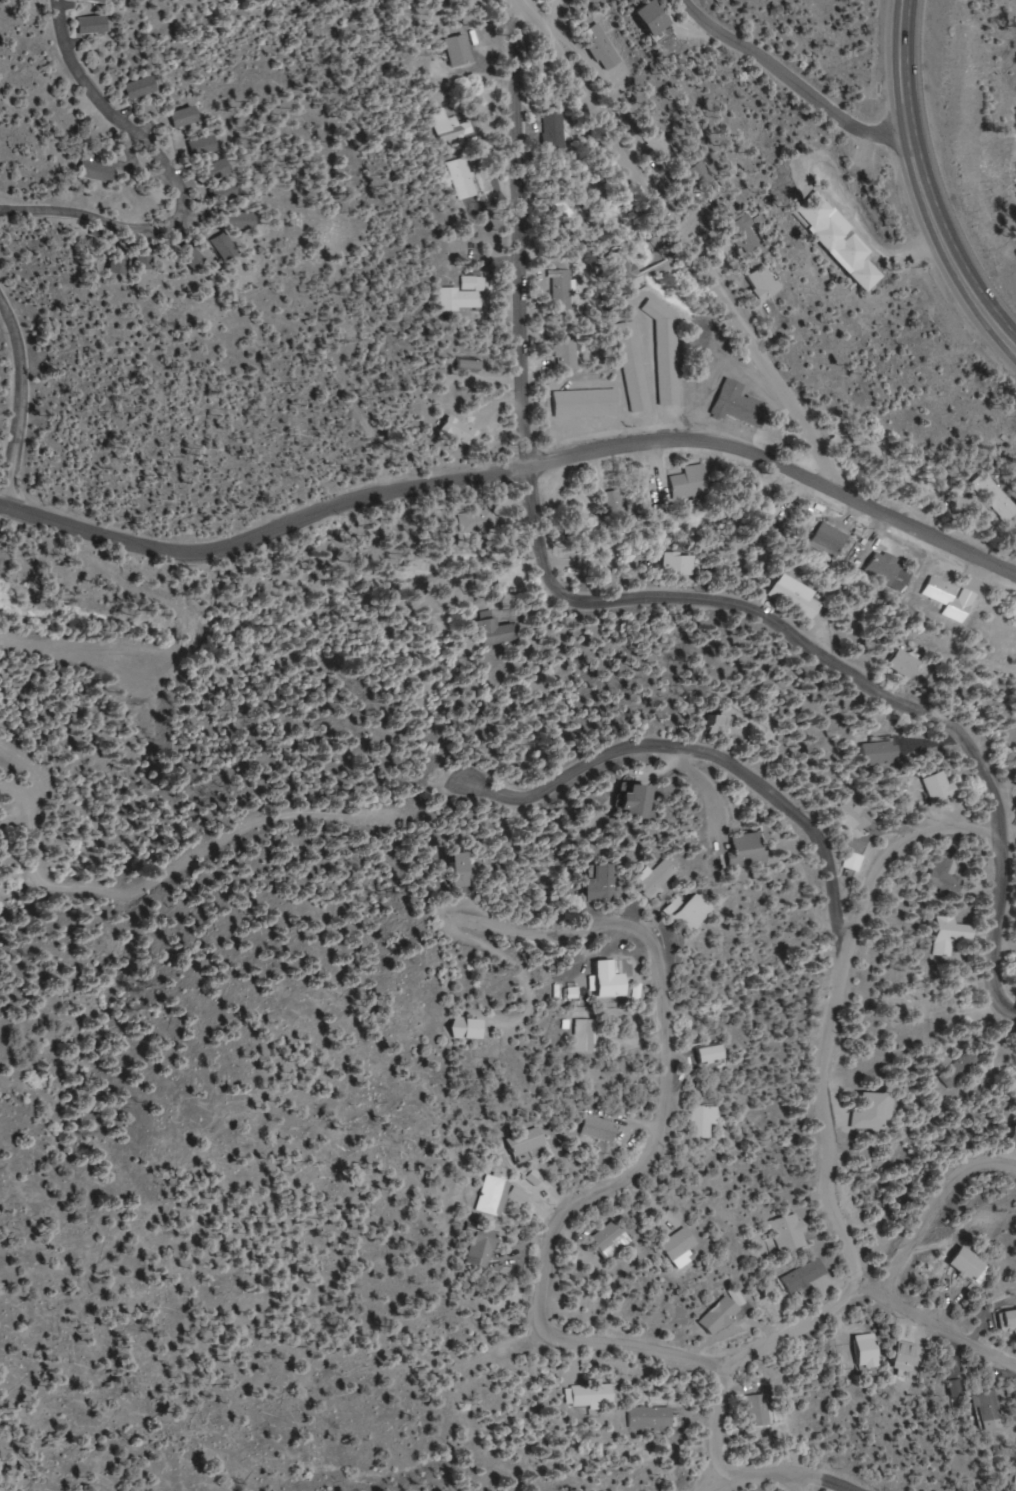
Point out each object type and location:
building: (91, 1)
building: (654, 17)
building: (87, 25)
building: (600, 47)
building: (457, 50)
building: (138, 87)
road: (799, 92)
building: (184, 116)
building: (450, 127)
building: (554, 131)
building: (207, 144)
building: (218, 168)
building: (97, 171)
building: (462, 178)
road: (174, 180)
road: (917, 186)
building: (228, 190)
building: (242, 218)
road: (728, 225)
building: (744, 234)
building: (840, 240)
building: (226, 245)
building: (146, 256)
building: (194, 257)
building: (118, 260)
building: (627, 267)
building: (763, 282)
building: (560, 289)
building: (463, 295)
building: (565, 352)
building: (665, 354)
building: (469, 365)
building: (632, 366)
building: (584, 403)
building: (737, 405)
road: (22, 407)
building: (456, 430)
road: (516, 473)
building: (689, 482)
building: (994, 496)
building: (612, 503)
building: (768, 527)
building: (826, 539)
building: (676, 564)
building: (881, 568)
road: (533, 578)
building: (791, 596)
building: (947, 598)
building: (496, 632)
building: (904, 664)
building: (722, 717)
building: (878, 752)
road: (703, 756)
building: (936, 786)
building: (633, 801)
building: (851, 815)
road: (902, 847)
building: (746, 848)
building: (852, 862)
building: (458, 870)
building: (945, 877)
building: (652, 878)
building: (599, 884)
building: (692, 912)
road: (994, 932)
building: (949, 935)
building: (609, 980)
building: (586, 1036)
road: (667, 1053)
building: (713, 1055)
building: (961, 1068)
building: (872, 1111)
road: (822, 1114)
building: (705, 1121)
building: (601, 1128)
building: (1013, 1138)
building: (527, 1141)
building: (495, 1194)
building: (789, 1233)
building: (612, 1239)
building: (679, 1244)
building: (483, 1245)
building: (966, 1264)
road: (895, 1269)
building: (806, 1275)
road: (868, 1289)
building: (724, 1313)
building: (1008, 1319)
road: (797, 1330)
road: (558, 1335)
building: (867, 1351)
building: (906, 1356)
building: (957, 1389)
building: (593, 1395)
building: (989, 1407)
building: (759, 1411)
building: (650, 1418)
road: (718, 1419)
road: (758, 1474)
road: (828, 1478)
road: (795, 1481)
road: (714, 1484)

